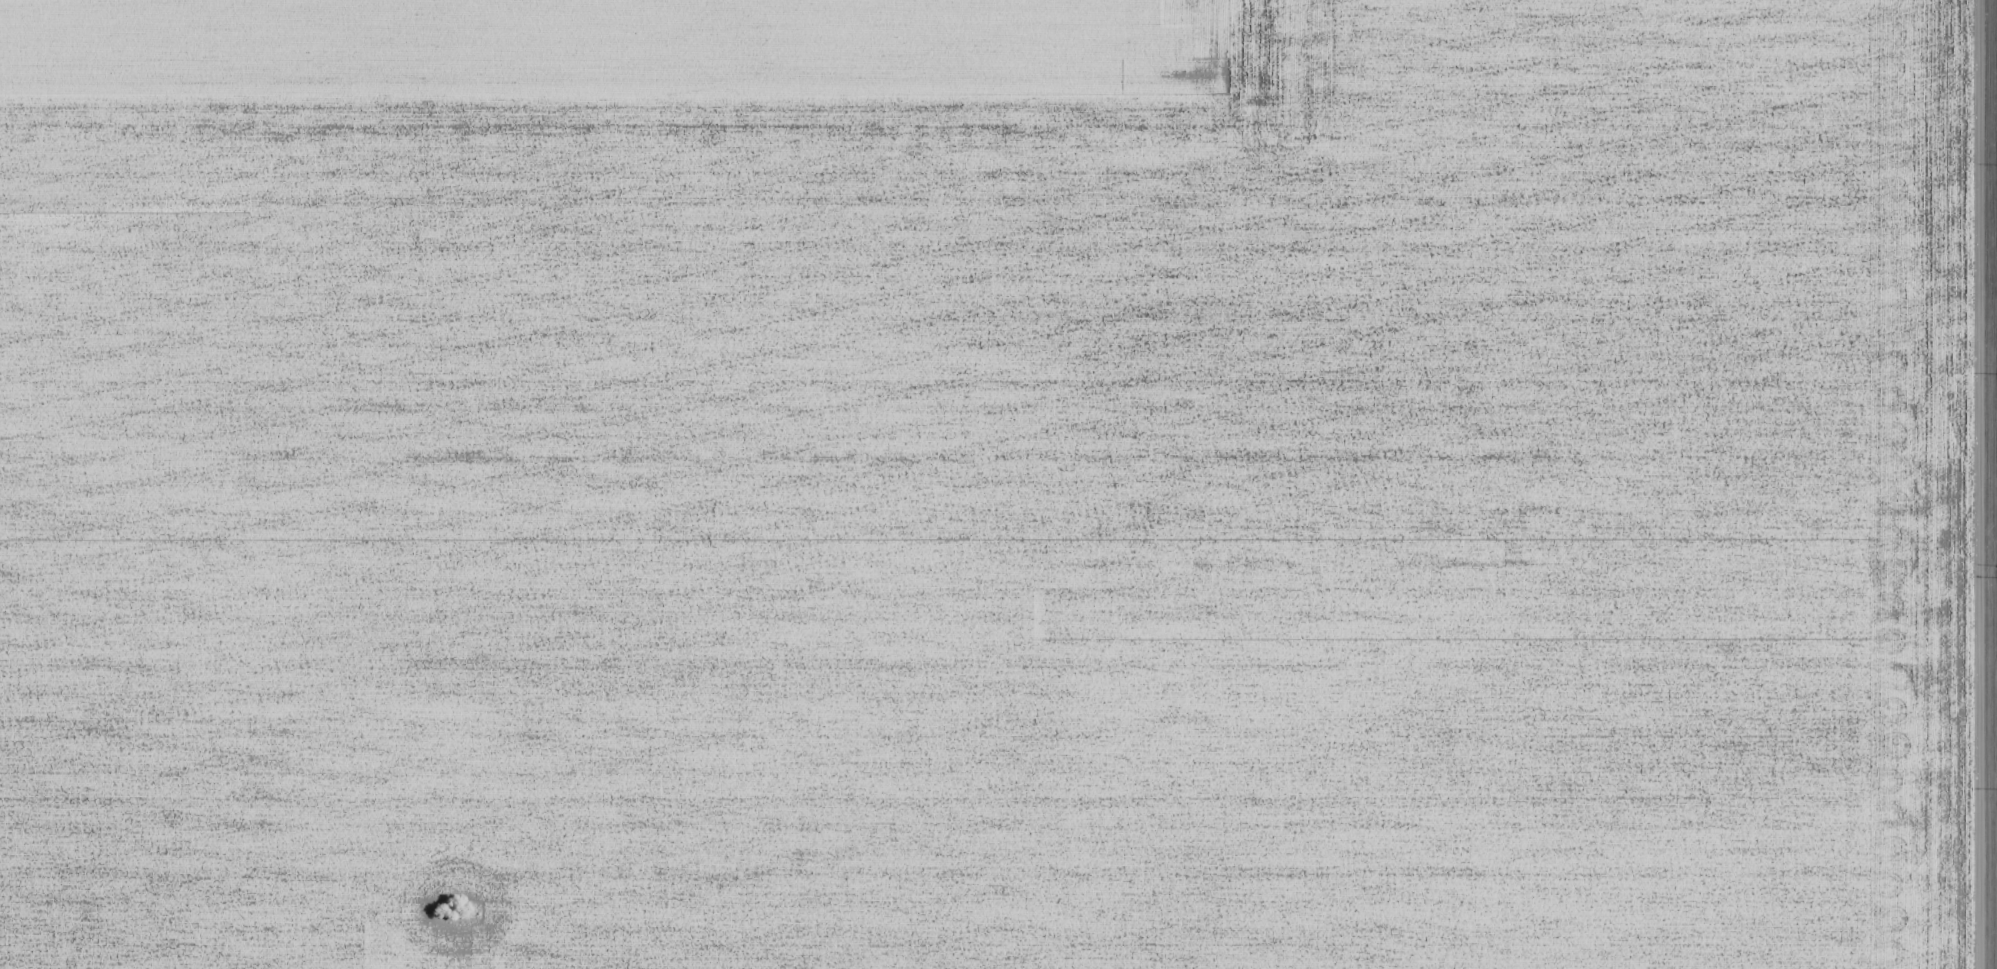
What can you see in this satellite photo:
road: (1981, 484)

